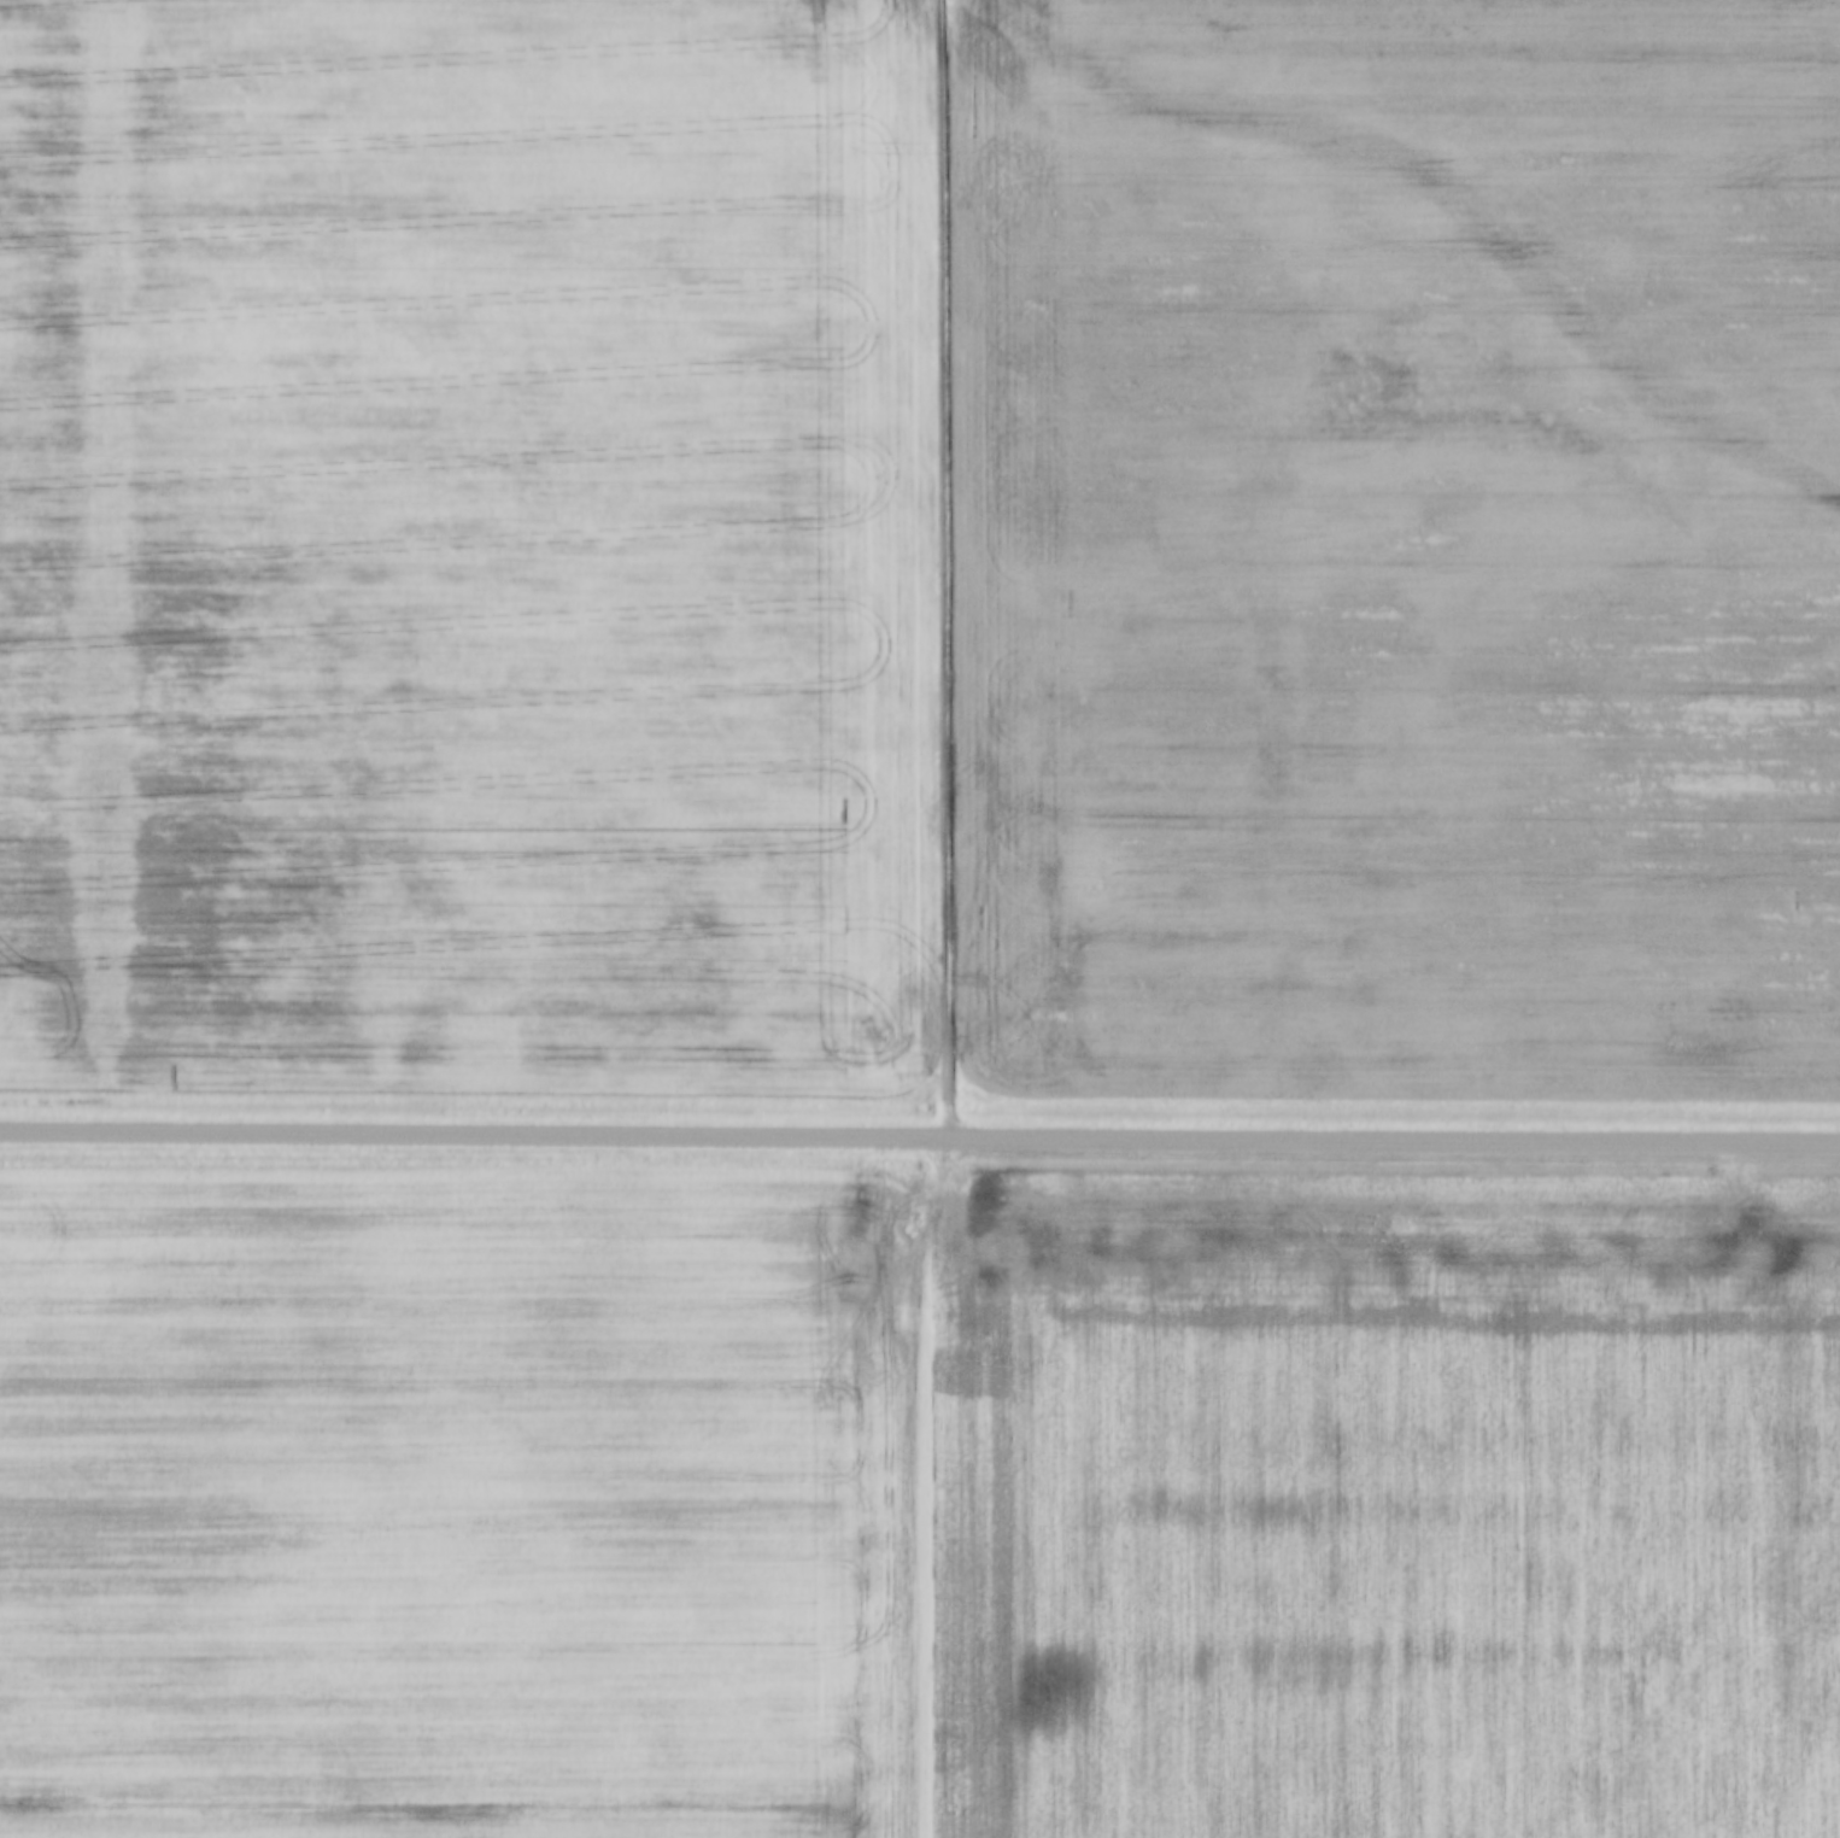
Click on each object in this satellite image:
road: (940, 568)
road: (920, 1137)

